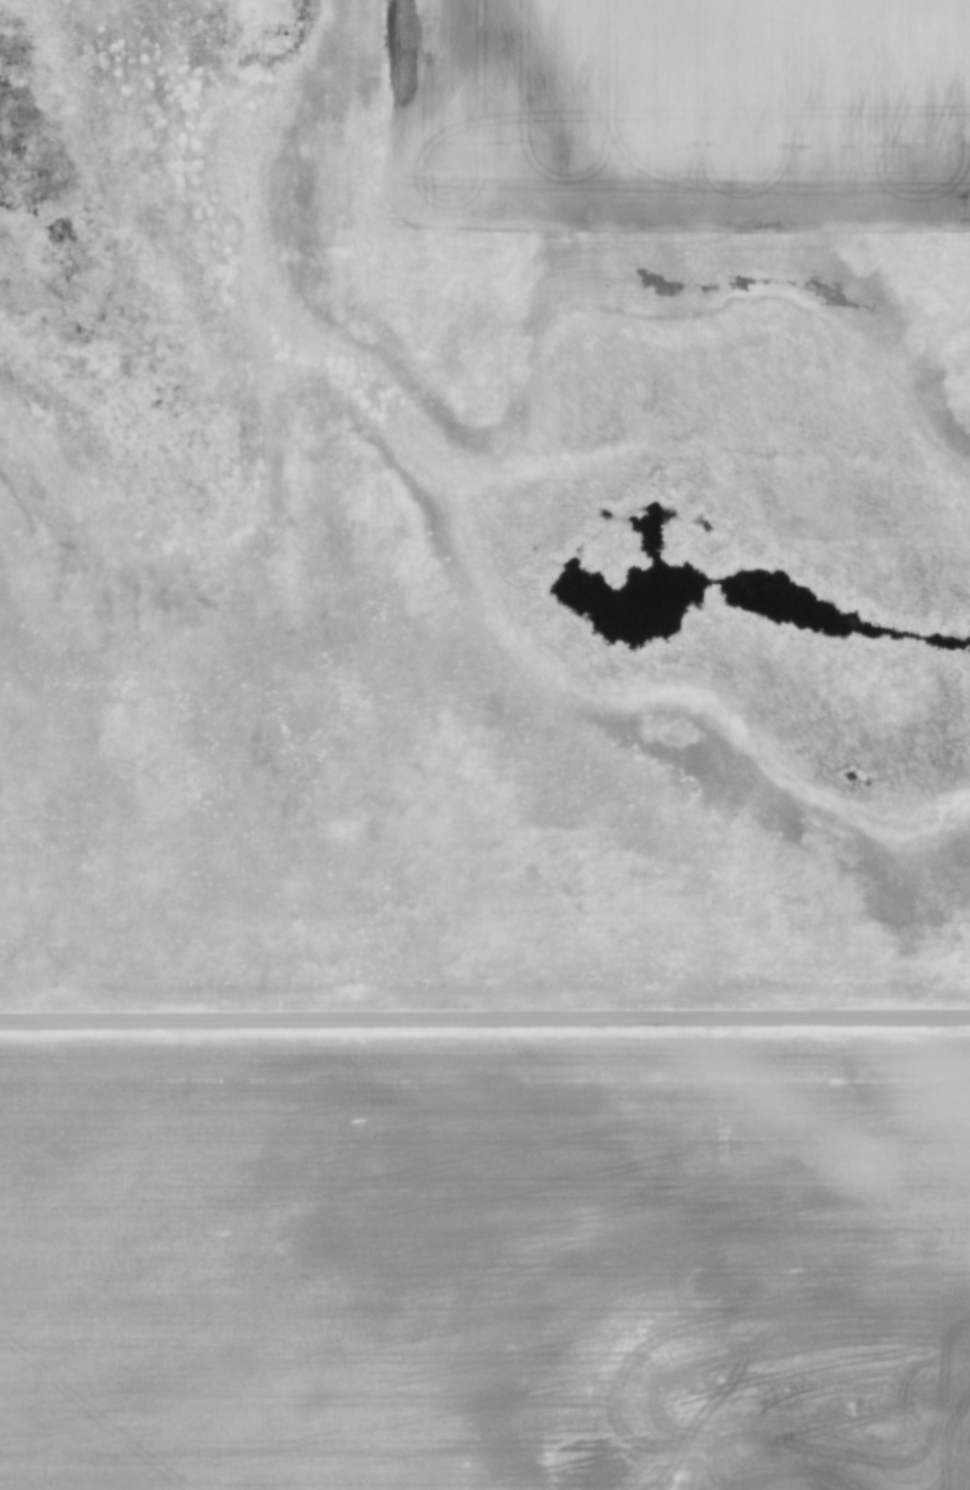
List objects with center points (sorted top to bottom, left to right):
road: (485, 1016)

